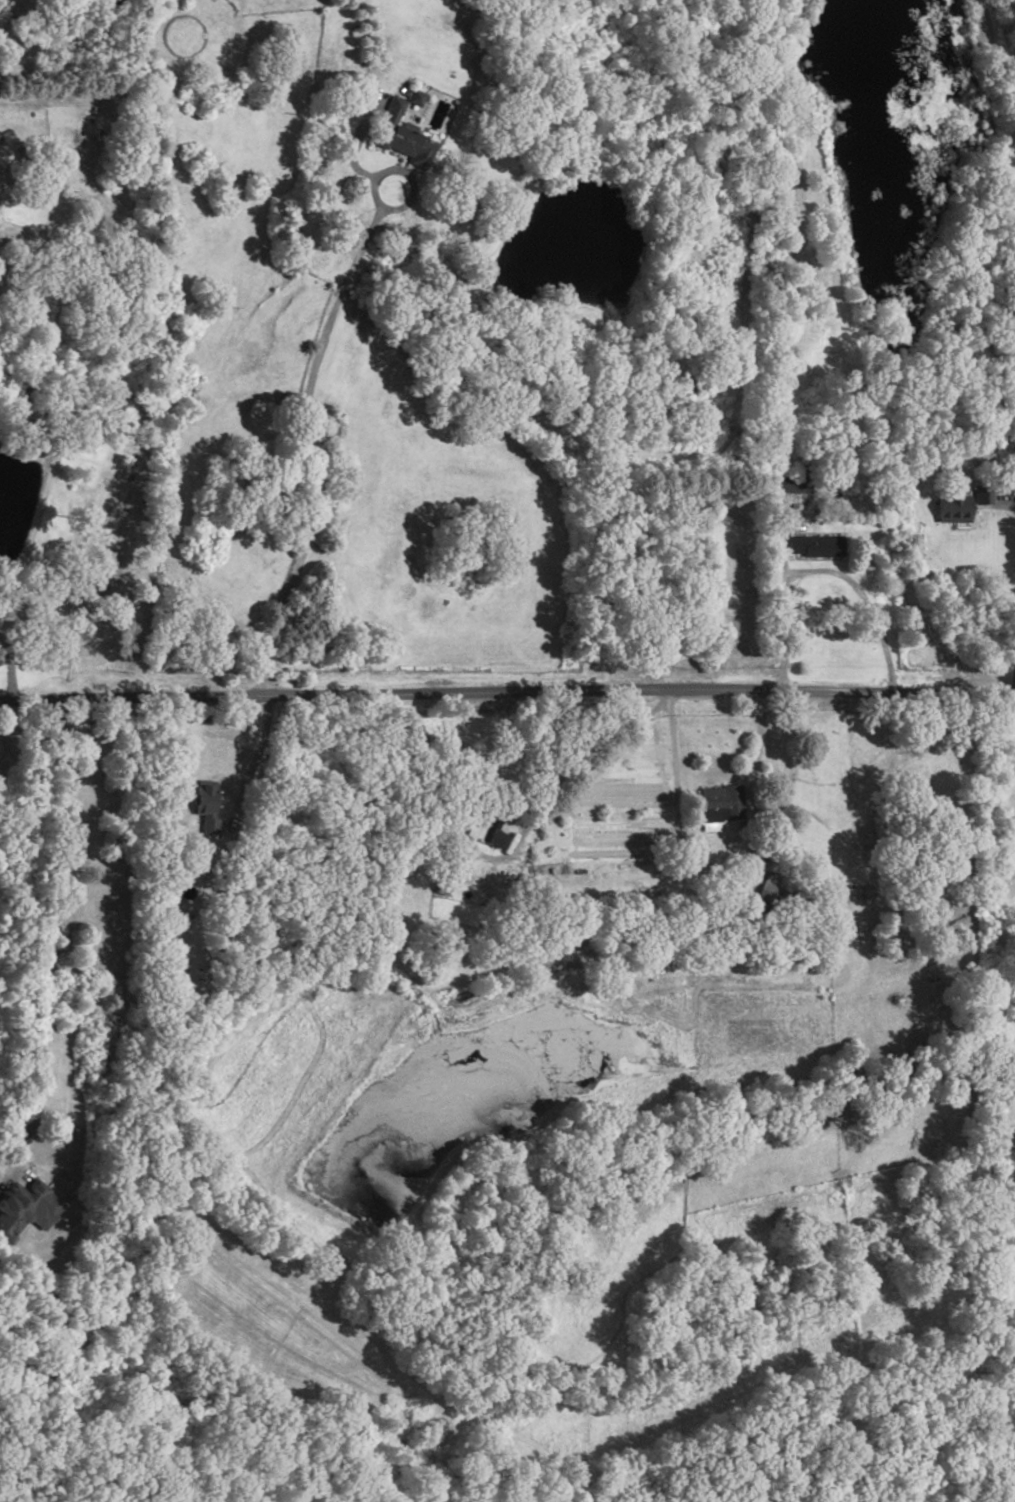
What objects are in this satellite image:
building: (414, 97)
building: (400, 138)
road: (352, 143)
road: (795, 344)
road: (304, 385)
building: (792, 489)
building: (981, 495)
road: (1013, 504)
building: (950, 509)
building: (813, 545)
road: (862, 600)
road: (1014, 680)
road: (507, 691)
road: (249, 752)
road: (592, 752)
road: (673, 800)
building: (720, 804)
building: (201, 805)
building: (484, 830)
building: (767, 885)
road: (1, 1177)
building: (26, 1207)

